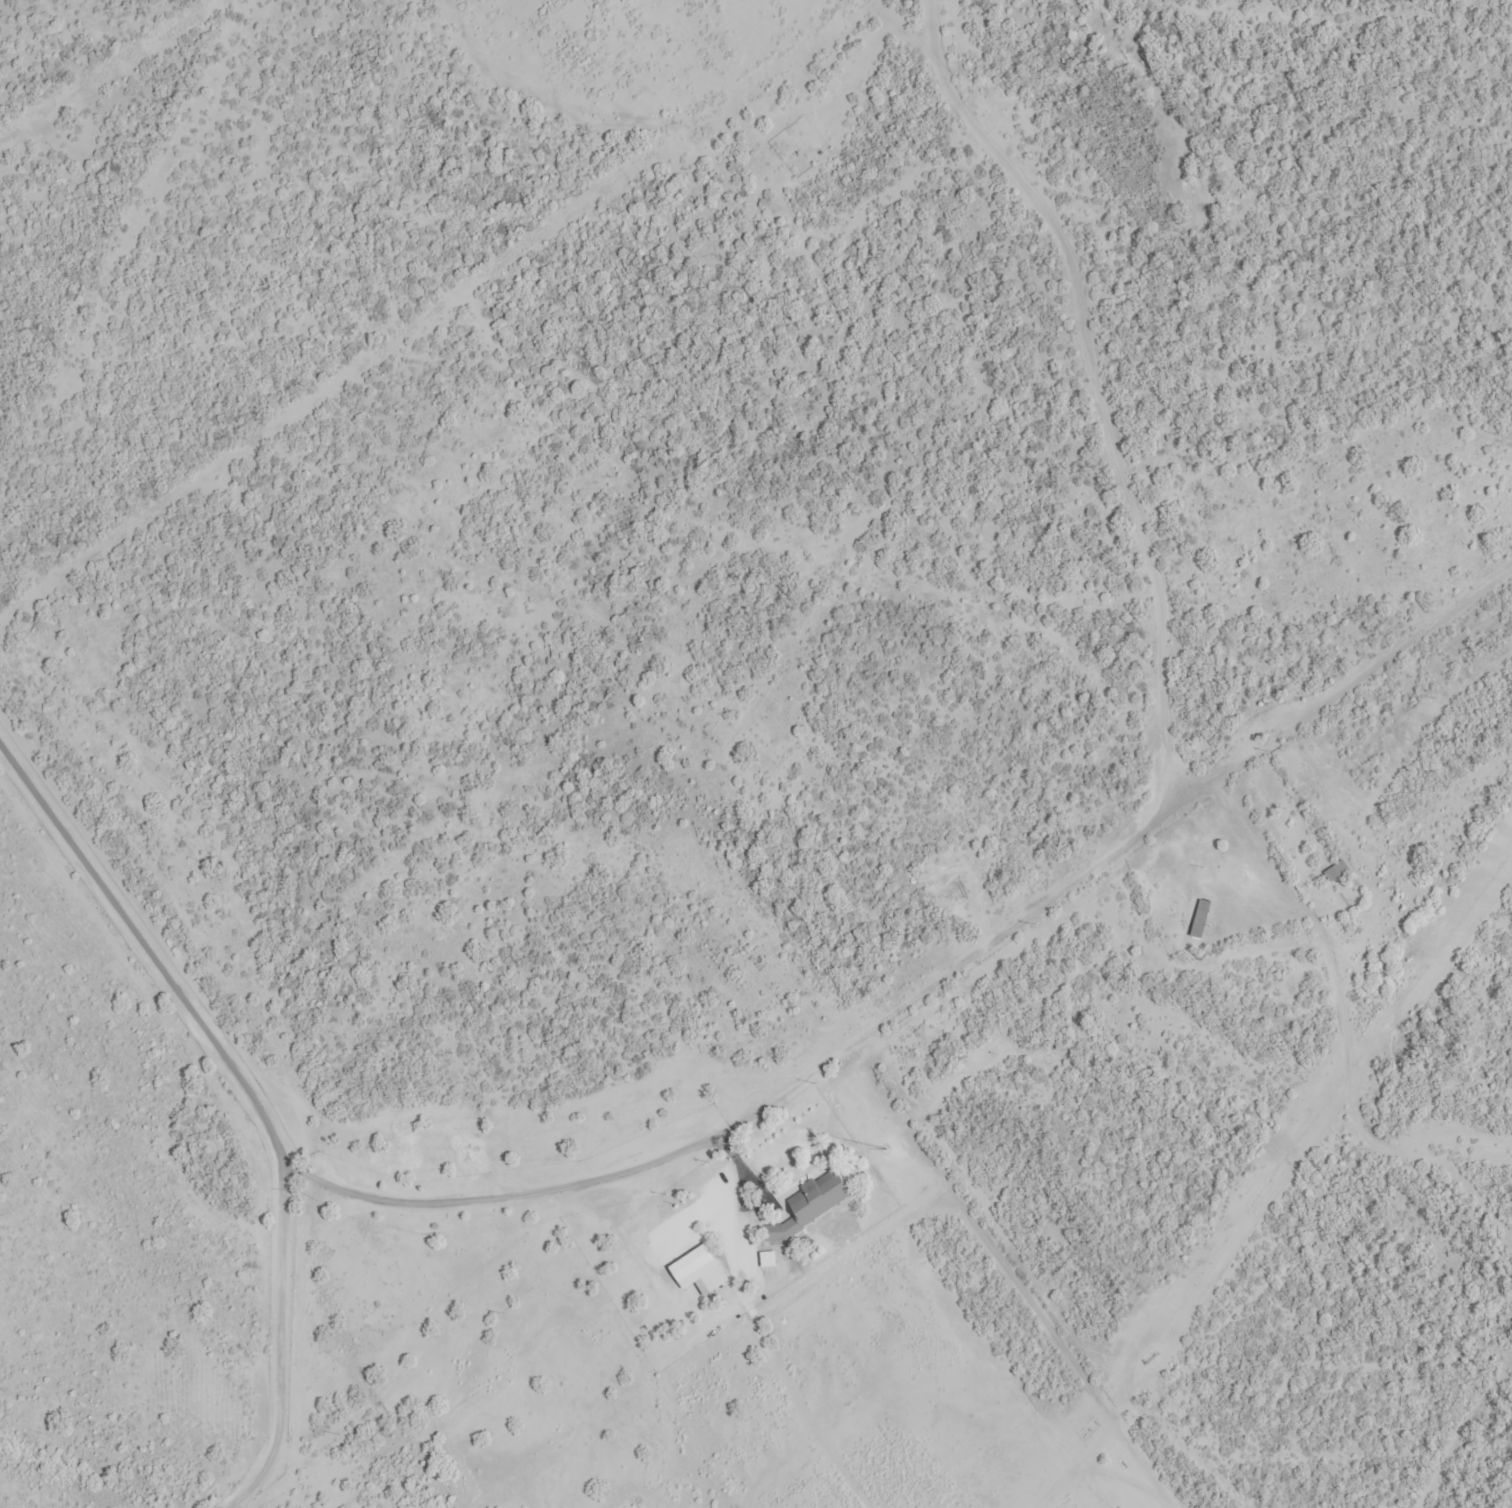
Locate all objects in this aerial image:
road: (1509, 1)
building: (1336, 870)
building: (1200, 918)
road: (144, 937)
road: (928, 988)
building: (816, 1191)
building: (776, 1232)
building: (768, 1259)
building: (699, 1270)
road: (283, 1334)

